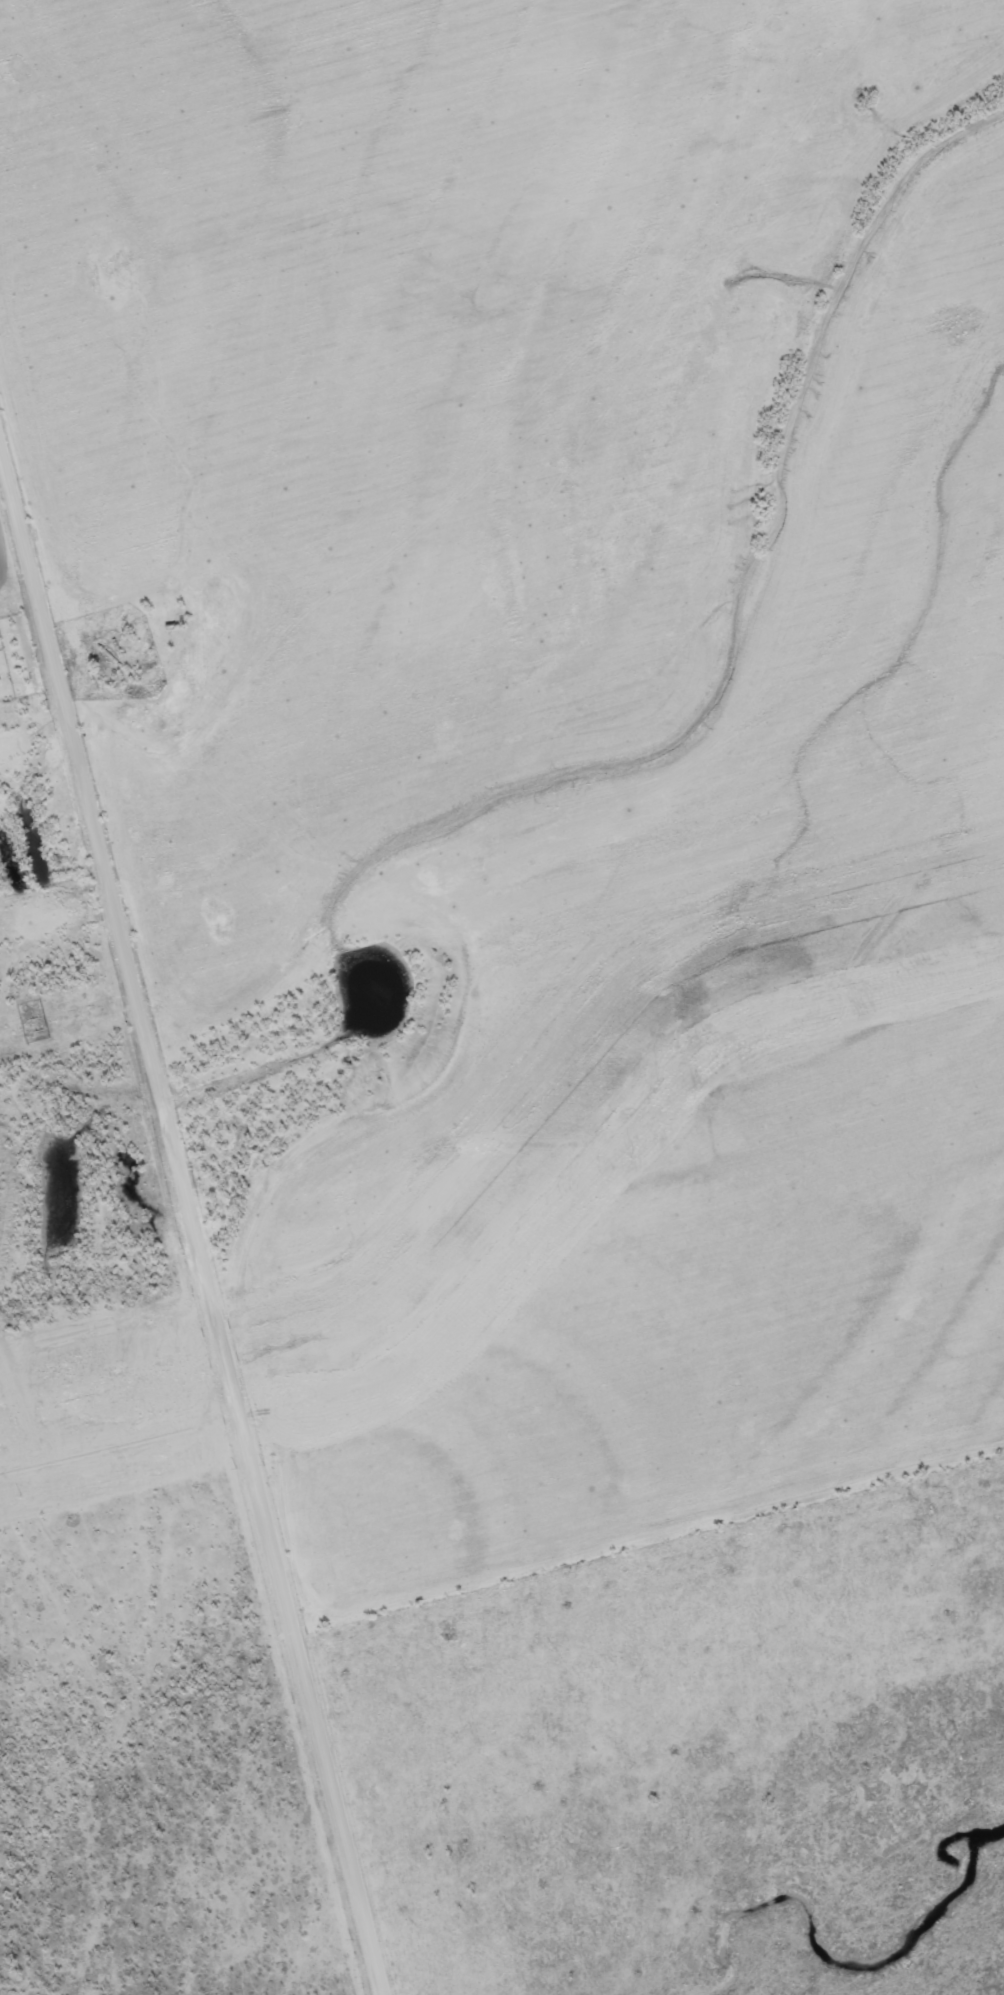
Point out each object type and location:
road: (186, 1242)

